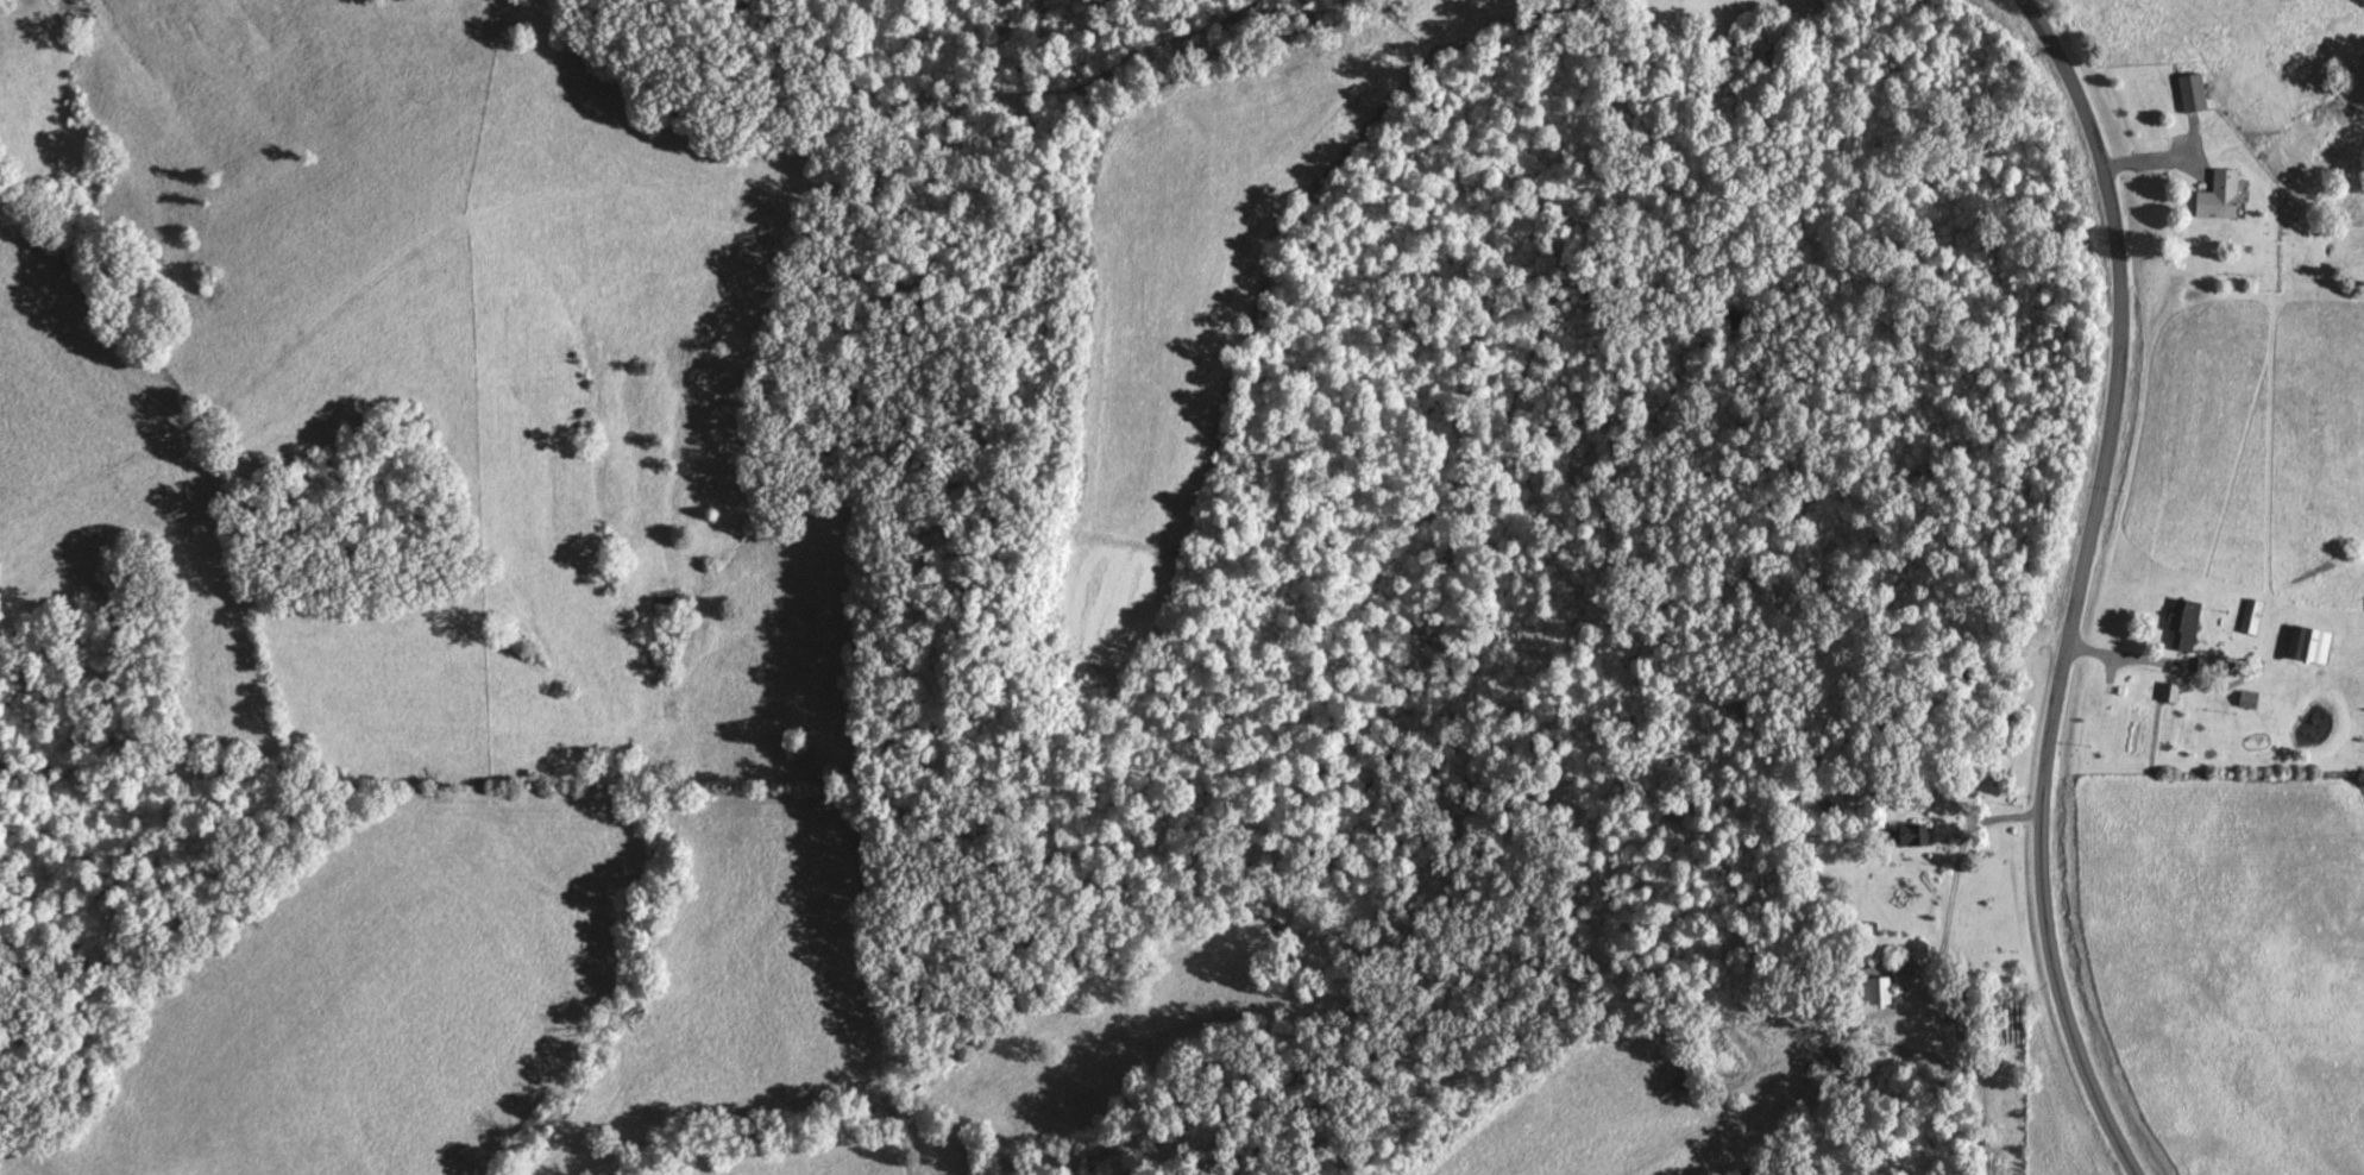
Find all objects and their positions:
building: (2194, 92)
building: (2220, 195)
road: (2115, 400)
building: (2252, 616)
building: (2182, 620)
building: (2309, 643)
road: (2183, 678)
building: (2170, 692)
building: (2250, 699)
building: (1912, 835)
road: (1951, 910)
building: (1924, 953)
building: (1879, 991)
road: (2058, 1001)

